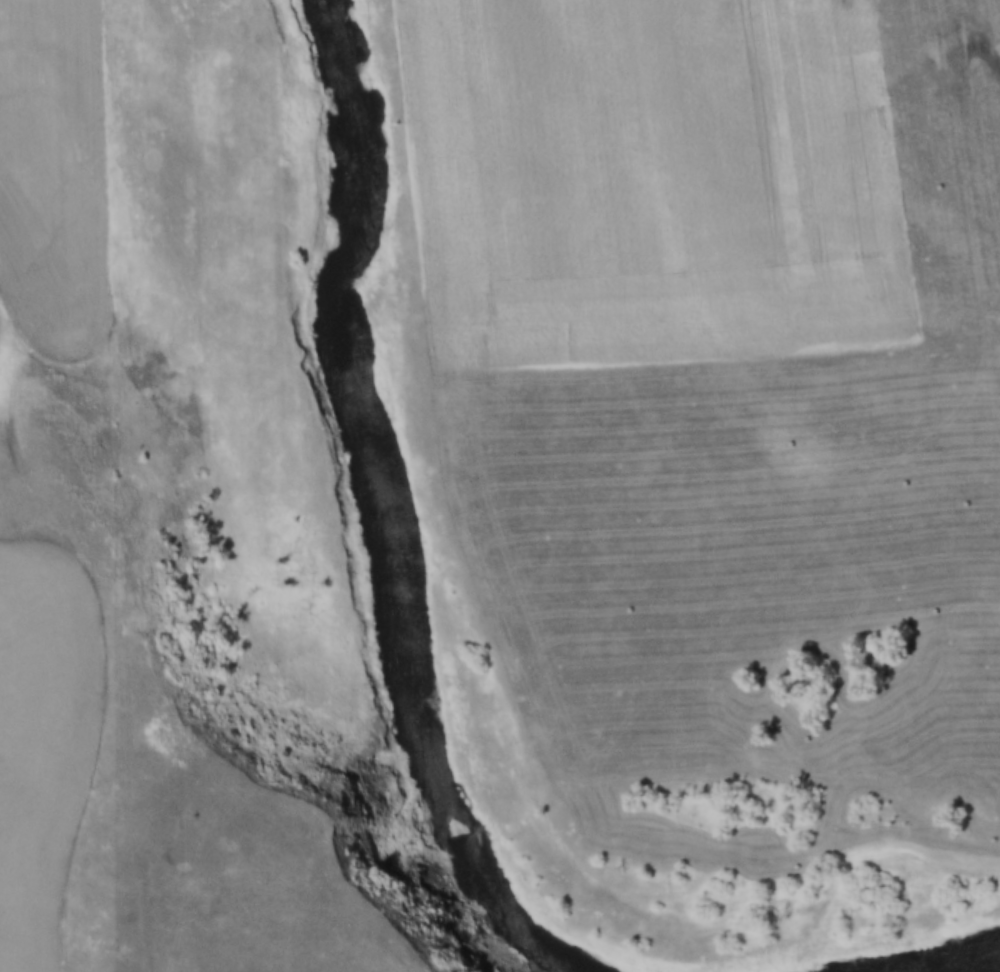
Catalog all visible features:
river: (389, 539)
river: (889, 949)

